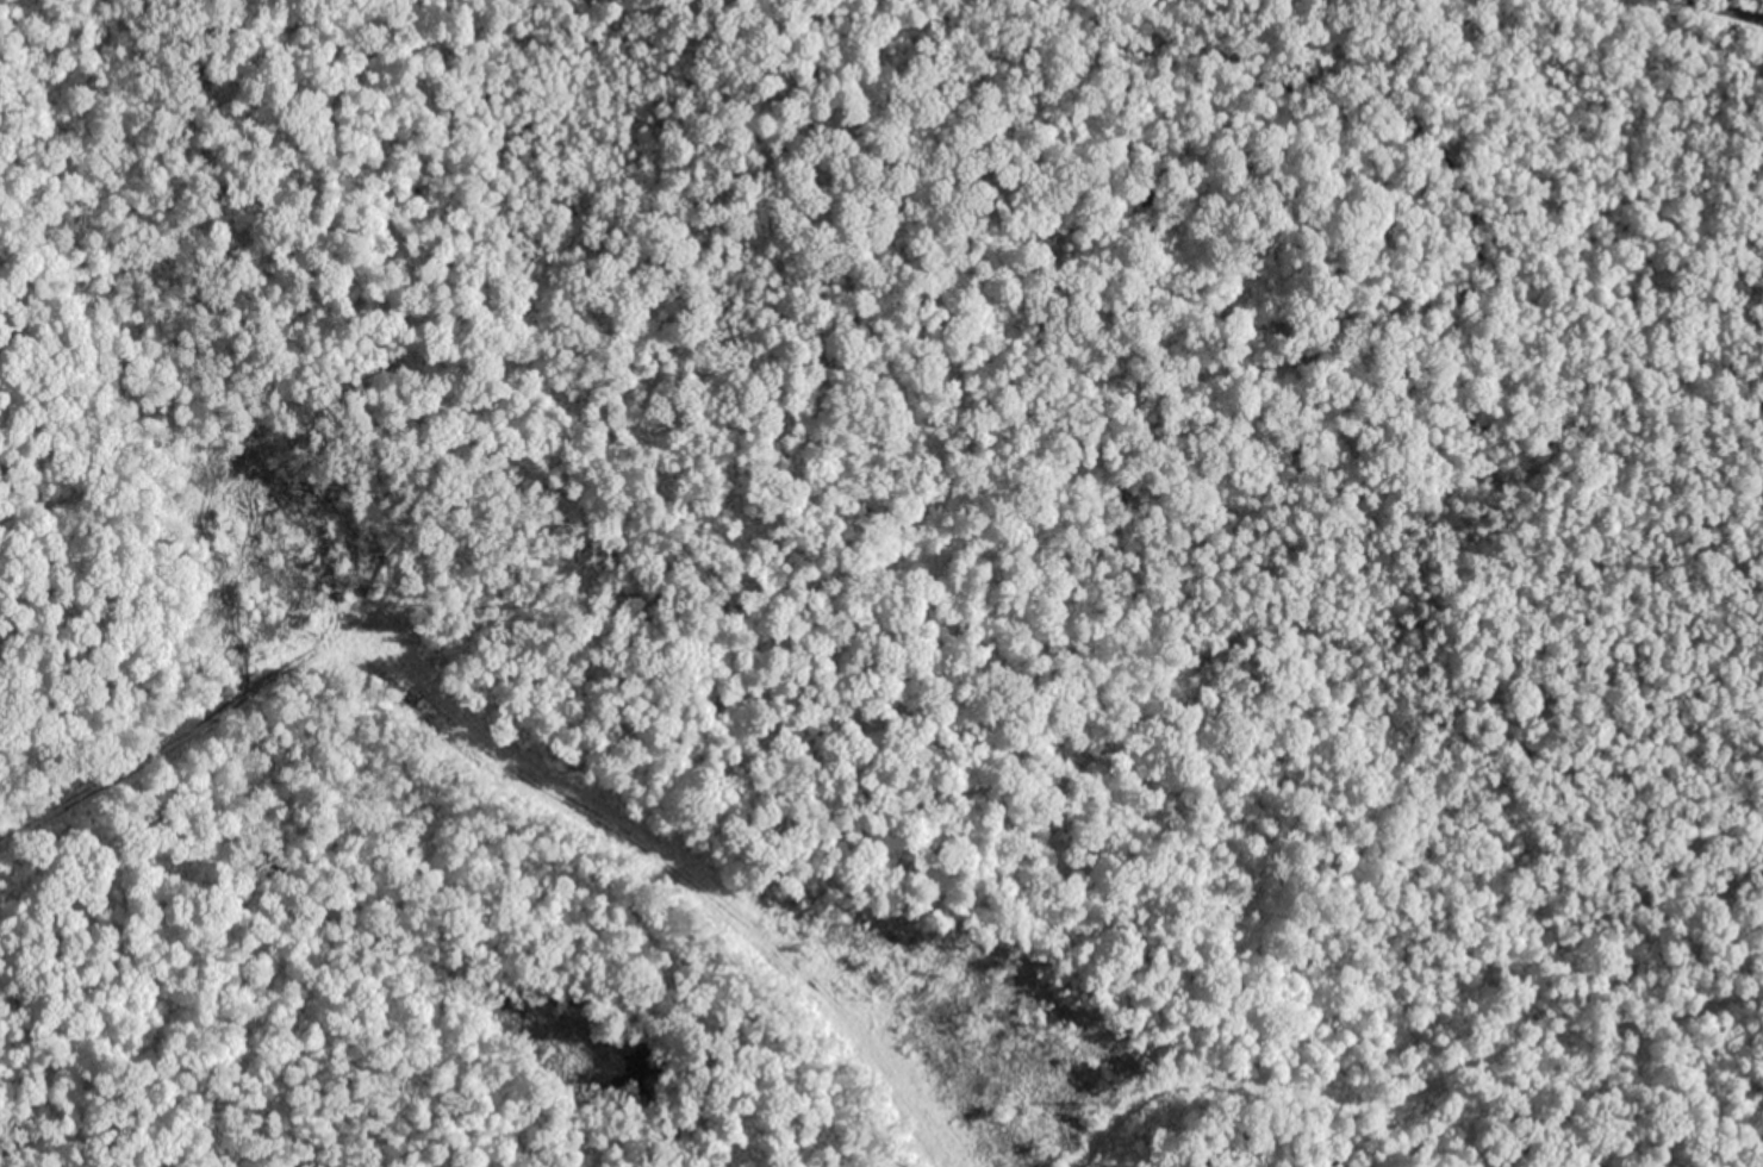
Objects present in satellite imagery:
road: (1737, 6)

